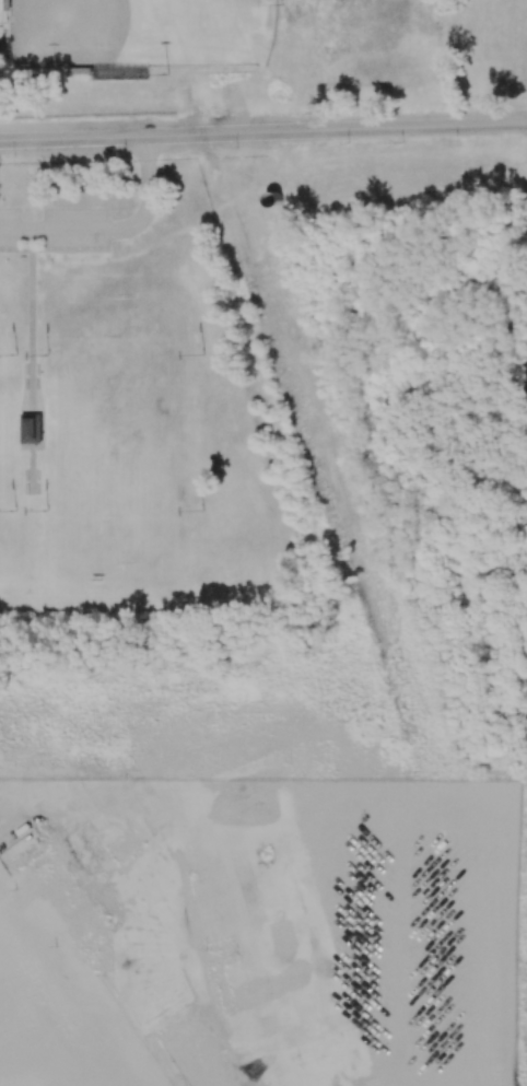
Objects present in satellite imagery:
park: (83, 34)
road: (187, 67)
road: (263, 132)
park: (133, 425)
building: (32, 429)
park: (126, 431)

